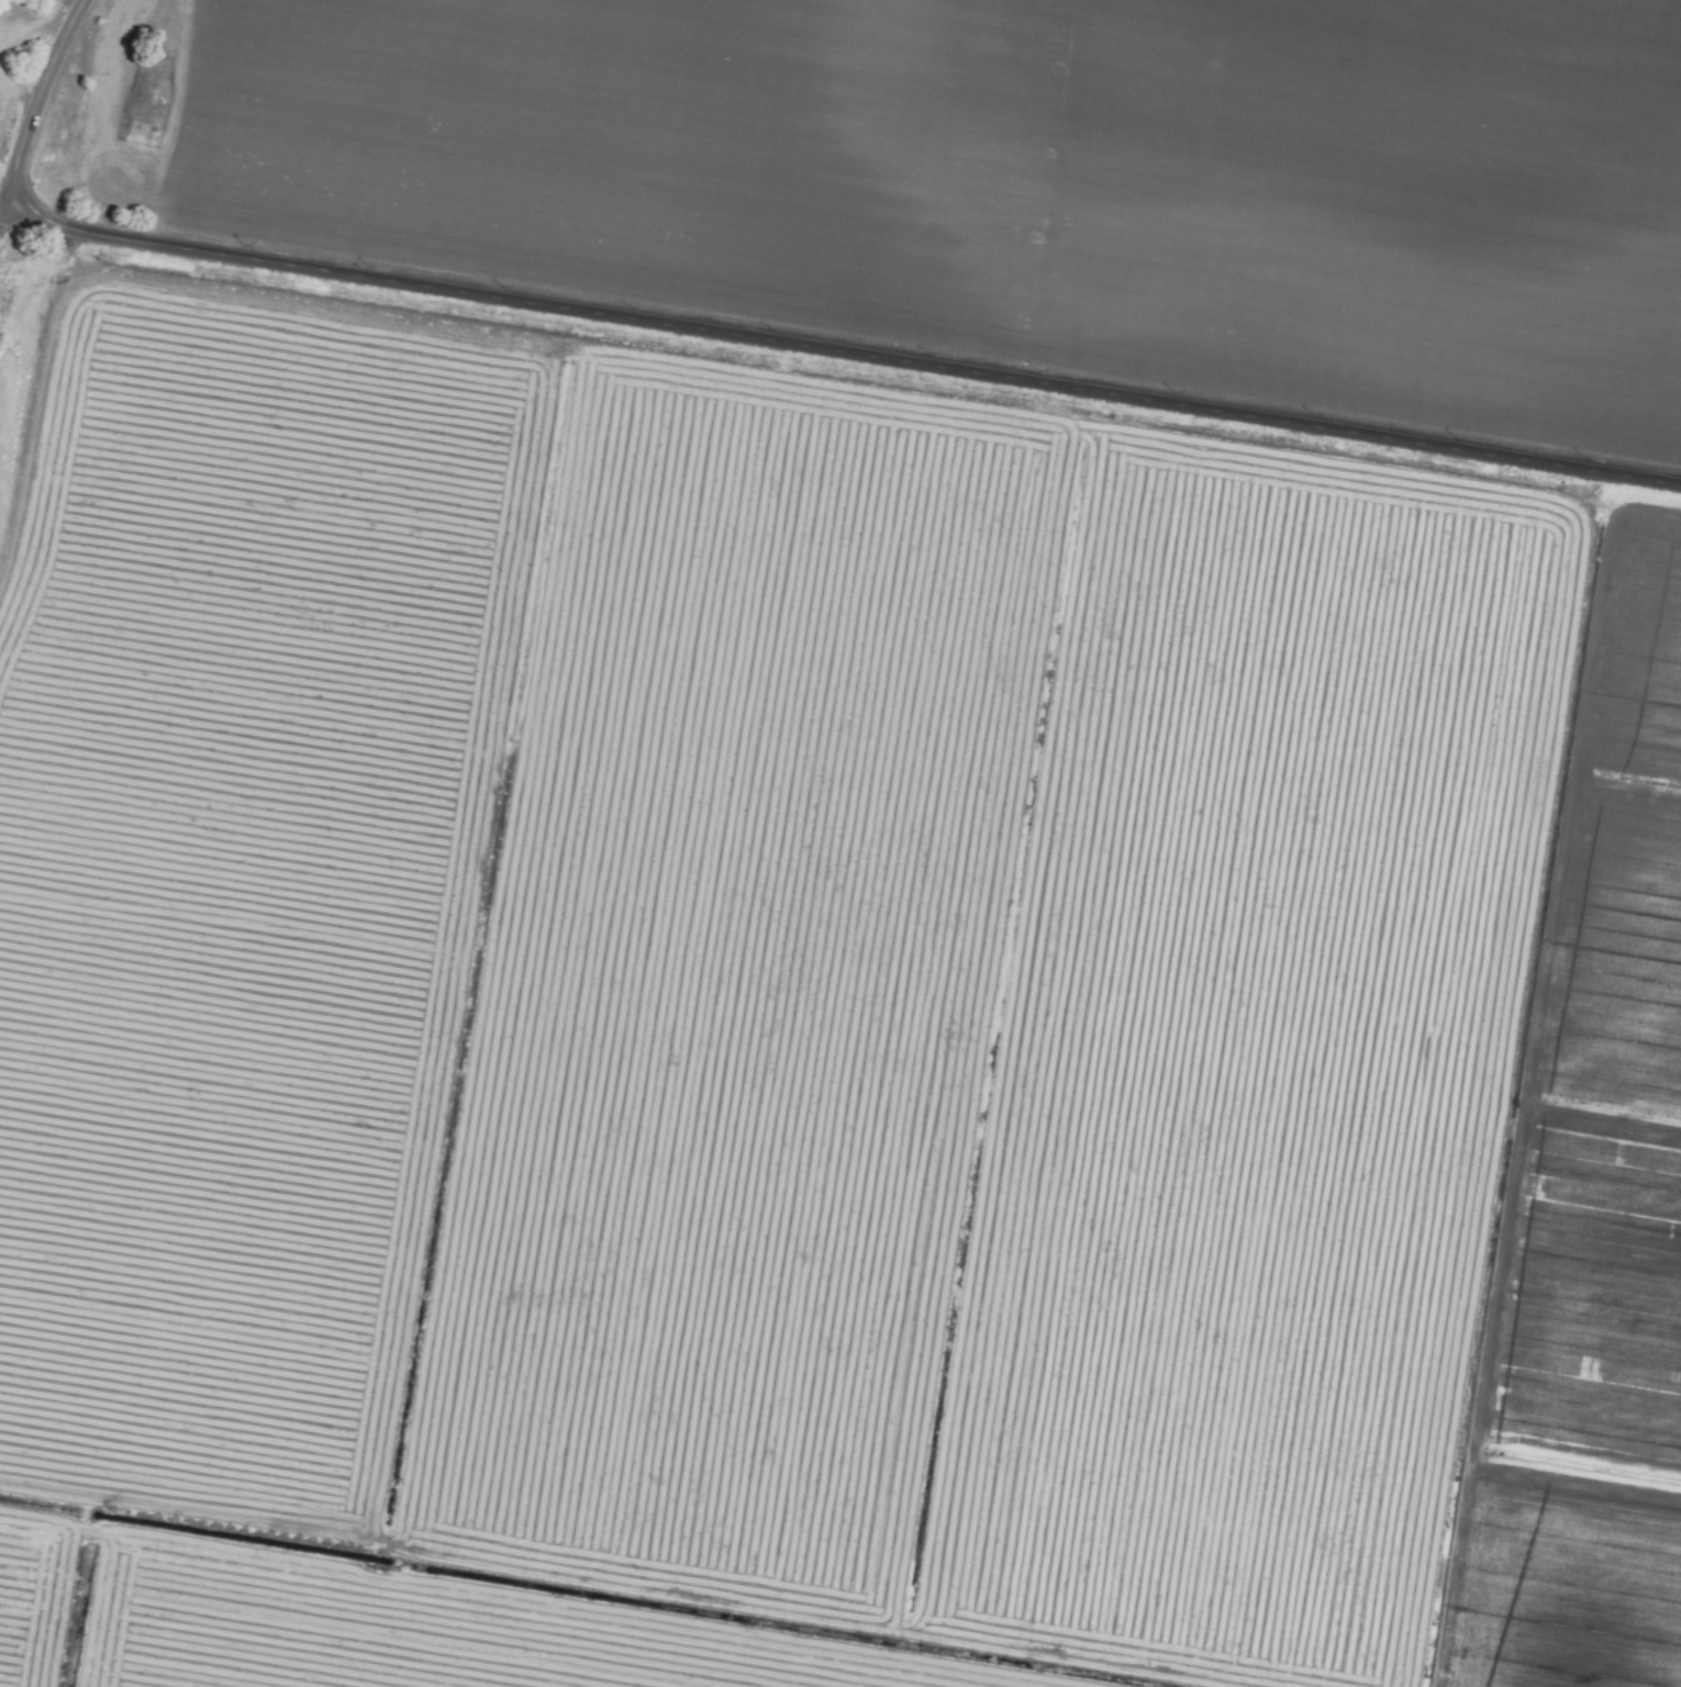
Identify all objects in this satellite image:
crop: (8, 71)
road: (37, 104)
road: (841, 354)
crop: (851, 853)

